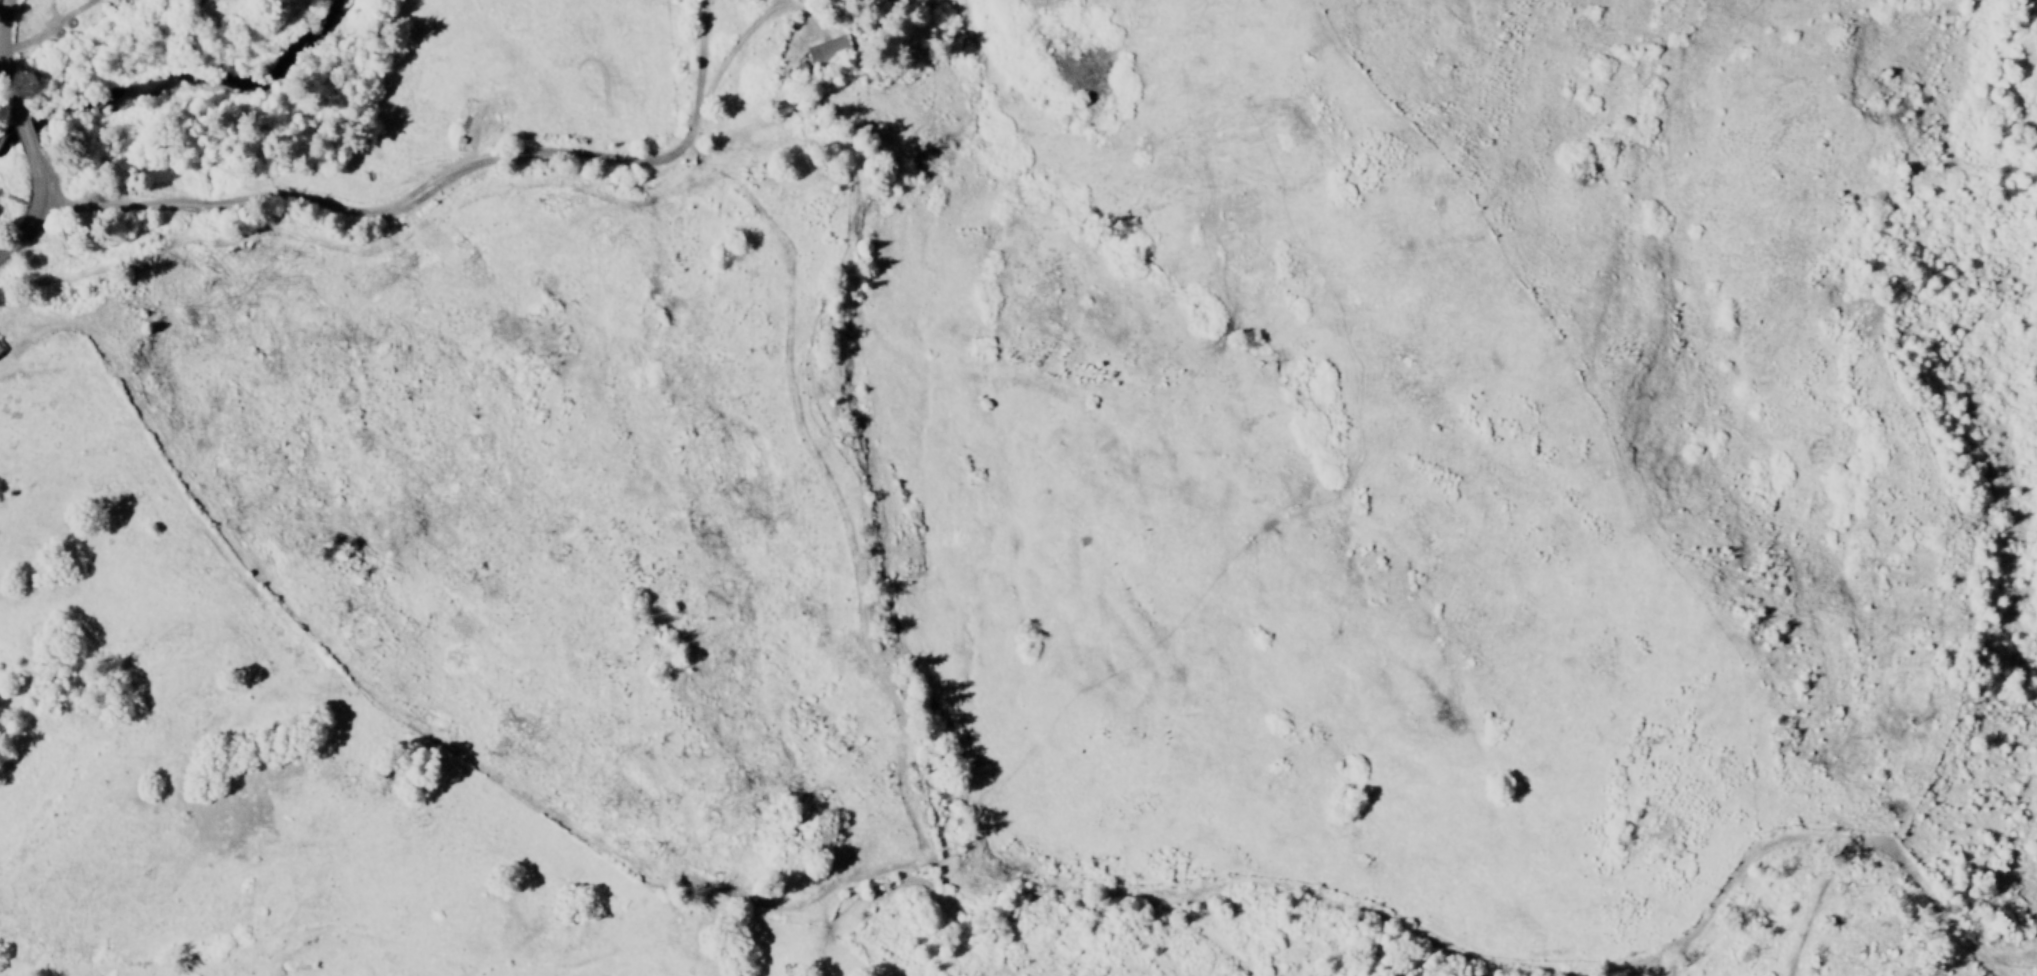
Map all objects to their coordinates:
road: (4, 16)
road: (5, 65)
road: (20, 122)
road: (437, 188)
road: (35, 213)
building: (1, 349)
road: (904, 691)
road: (1763, 900)

